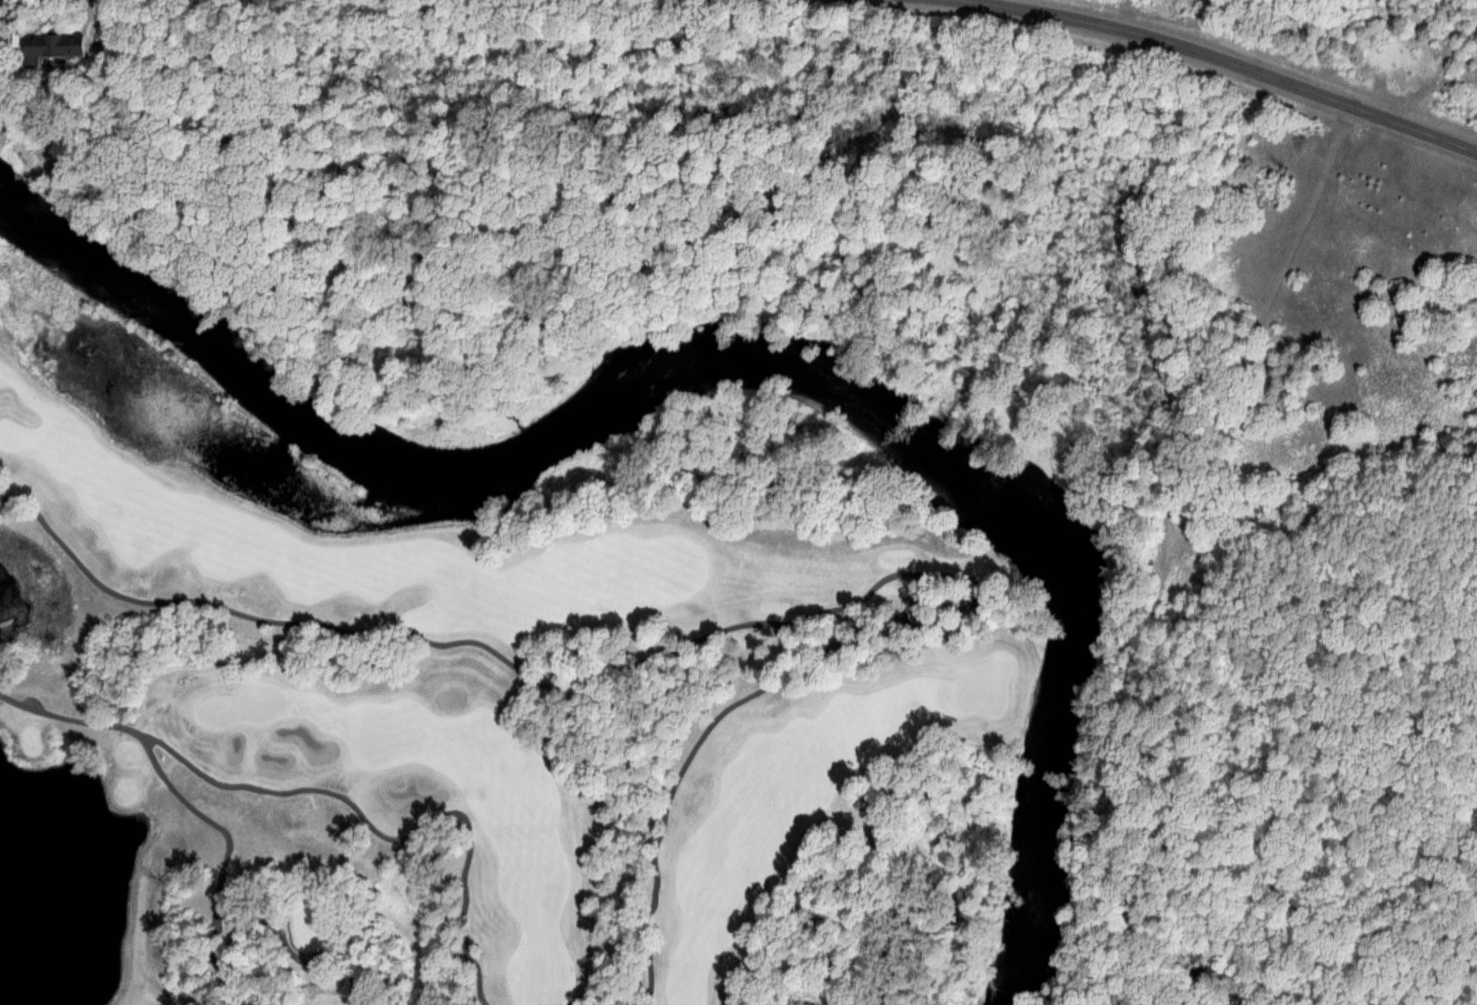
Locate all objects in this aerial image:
road: (92, 25)
building: (46, 45)
road: (1226, 58)
river: (755, 335)
river: (735, 361)
road: (12, 488)
river: (318, 529)
road: (759, 621)
park: (508, 647)
road: (34, 701)
road: (228, 833)
road: (393, 836)
road: (213, 968)

